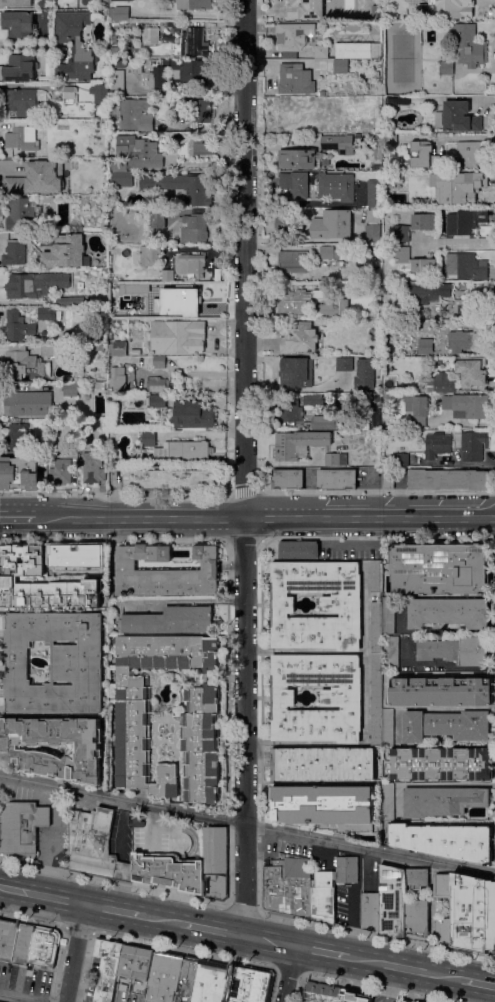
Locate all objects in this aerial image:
building: (120, 0)
building: (16, 3)
building: (196, 4)
building: (306, 9)
building: (455, 9)
building: (122, 14)
building: (19, 25)
building: (150, 36)
building: (113, 37)
building: (292, 39)
building: (193, 42)
road: (26, 45)
building: (469, 46)
building: (74, 47)
building: (358, 50)
building: (116, 51)
building: (321, 52)
building: (341, 66)
building: (137, 67)
building: (447, 68)
building: (20, 69)
building: (192, 72)
building: (160, 77)
building: (296, 80)
building: (118, 82)
building: (69, 93)
building: (100, 94)
building: (364, 100)
building: (393, 101)
building: (22, 102)
building: (333, 103)
building: (195, 109)
building: (294, 114)
building: (132, 115)
building: (458, 117)
building: (103, 126)
building: (358, 136)
building: (23, 137)
road: (450, 138)
building: (387, 140)
building: (336, 143)
building: (140, 151)
building: (470, 153)
building: (426, 155)
building: (299, 159)
building: (377, 168)
building: (387, 168)
building: (120, 175)
building: (37, 179)
building: (296, 184)
building: (471, 185)
building: (337, 186)
building: (183, 187)
building: (374, 193)
building: (47, 199)
building: (440, 201)
road: (311, 203)
building: (23, 214)
building: (374, 215)
building: (158, 218)
building: (287, 220)
building: (466, 221)
building: (333, 224)
building: (416, 226)
building: (194, 228)
building: (373, 233)
road: (460, 244)
building: (64, 251)
building: (336, 252)
building: (15, 254)
building: (150, 256)
building: (294, 262)
building: (416, 262)
building: (195, 265)
building: (467, 266)
building: (167, 275)
building: (35, 285)
building: (429, 291)
building: (298, 300)
building: (70, 302)
building: (179, 302)
building: (334, 309)
building: (463, 309)
building: (45, 314)
building: (18, 327)
building: (178, 337)
building: (300, 339)
building: (468, 339)
building: (427, 346)
building: (99, 348)
building: (118, 349)
building: (32, 361)
building: (160, 363)
building: (345, 364)
road: (198, 373)
building: (296, 373)
building: (364, 374)
building: (475, 377)
building: (118, 380)
building: (158, 384)
building: (71, 389)
building: (374, 398)
building: (319, 399)
building: (158, 401)
building: (30, 404)
building: (468, 405)
building: (414, 406)
building: (290, 410)
building: (191, 415)
building: (408, 418)
building: (373, 419)
building: (329, 422)
building: (149, 438)
building: (17, 439)
building: (438, 445)
building: (474, 445)
building: (306, 447)
building: (184, 451)
building: (402, 460)
road: (246, 467)
building: (93, 468)
building: (61, 472)
building: (20, 474)
building: (388, 478)
building: (288, 479)
building: (448, 479)
building: (170, 480)
building: (337, 480)
road: (244, 491)
road: (377, 492)
road: (114, 498)
road: (17, 517)
road: (110, 518)
road: (216, 519)
road: (272, 519)
road: (381, 519)
road: (479, 519)
building: (299, 550)
building: (85, 562)
building: (440, 569)
building: (166, 572)
building: (376, 577)
building: (9, 578)
road: (190, 601)
building: (341, 605)
building: (448, 612)
building: (388, 616)
building: (170, 621)
building: (376, 628)
road: (436, 631)
building: (457, 651)
building: (392, 653)
building: (56, 663)
road: (442, 664)
building: (363, 688)
building: (441, 692)
building: (341, 698)
building: (376, 700)
road: (440, 707)
building: (134, 722)
building: (446, 726)
building: (388, 728)
building: (24, 752)
building: (323, 764)
building: (441, 765)
road: (433, 784)
building: (443, 801)
building: (390, 802)
building: (326, 807)
road: (247, 825)
building: (21, 827)
building: (445, 840)
building: (93, 845)
building: (215, 851)
building: (347, 870)
building: (168, 871)
road: (113, 883)
building: (216, 887)
building: (287, 889)
road: (42, 896)
building: (322, 897)
building: (403, 903)
building: (453, 908)
road: (241, 910)
road: (114, 911)
building: (372, 912)
building: (474, 913)
road: (32, 920)
road: (162, 920)
road: (210, 929)
road: (77, 930)
road: (376, 937)
building: (7, 939)
road: (268, 941)
building: (21, 945)
building: (42, 946)
road: (183, 951)
road: (75, 953)
road: (322, 953)
building: (113, 968)
road: (405, 969)
road: (287, 971)
road: (289, 974)
building: (161, 975)
building: (208, 981)
building: (244, 984)
road: (478, 984)
road: (371, 988)
building: (322, 992)
building: (353, 997)
road: (15, 998)
building: (402, 1001)
building: (405, 1001)
building: (413, 1001)

